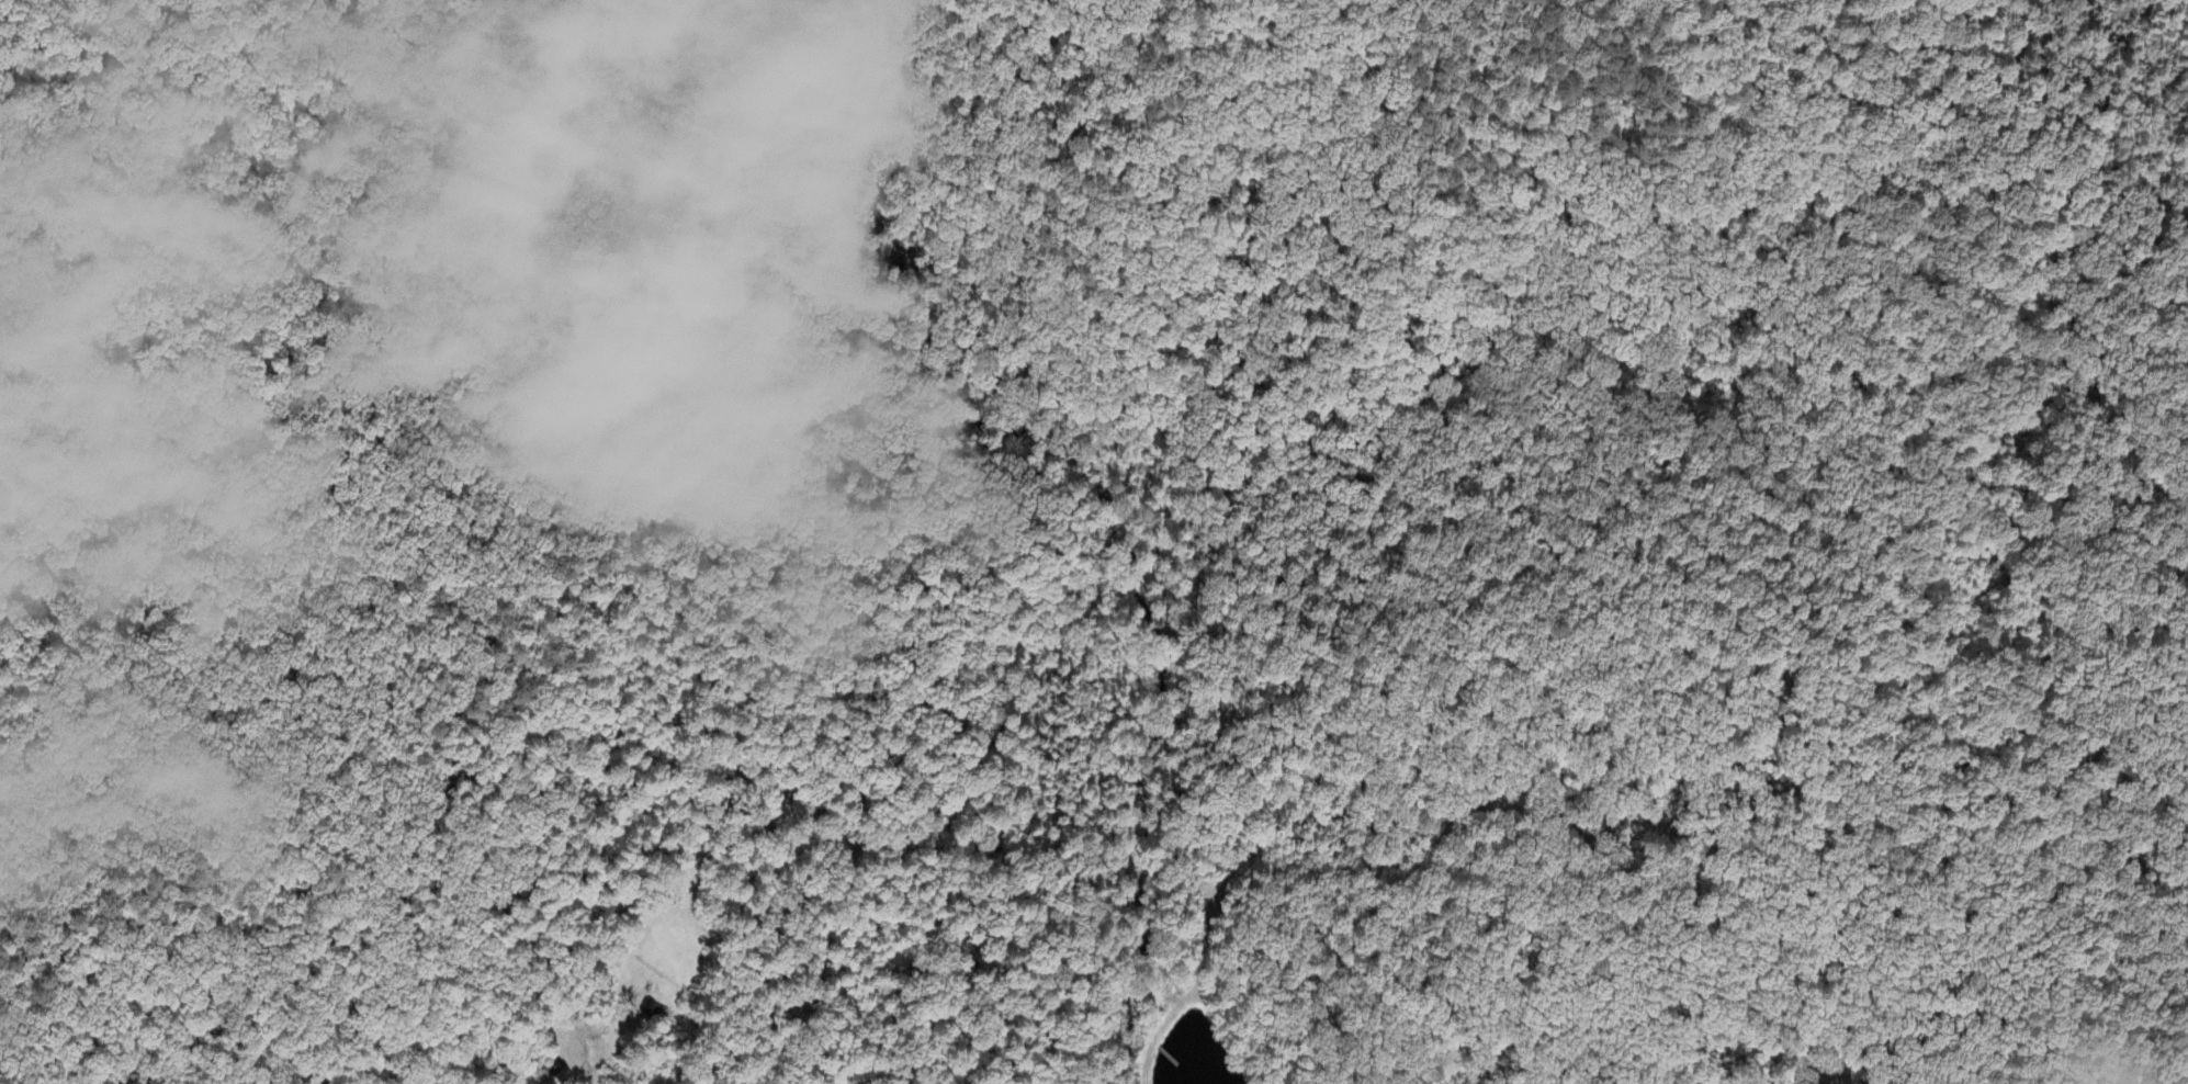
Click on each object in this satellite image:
road: (54, 200)
road: (1357, 576)
building: (654, 1012)
road: (3, 1058)
building: (553, 1065)
road: (587, 1076)

